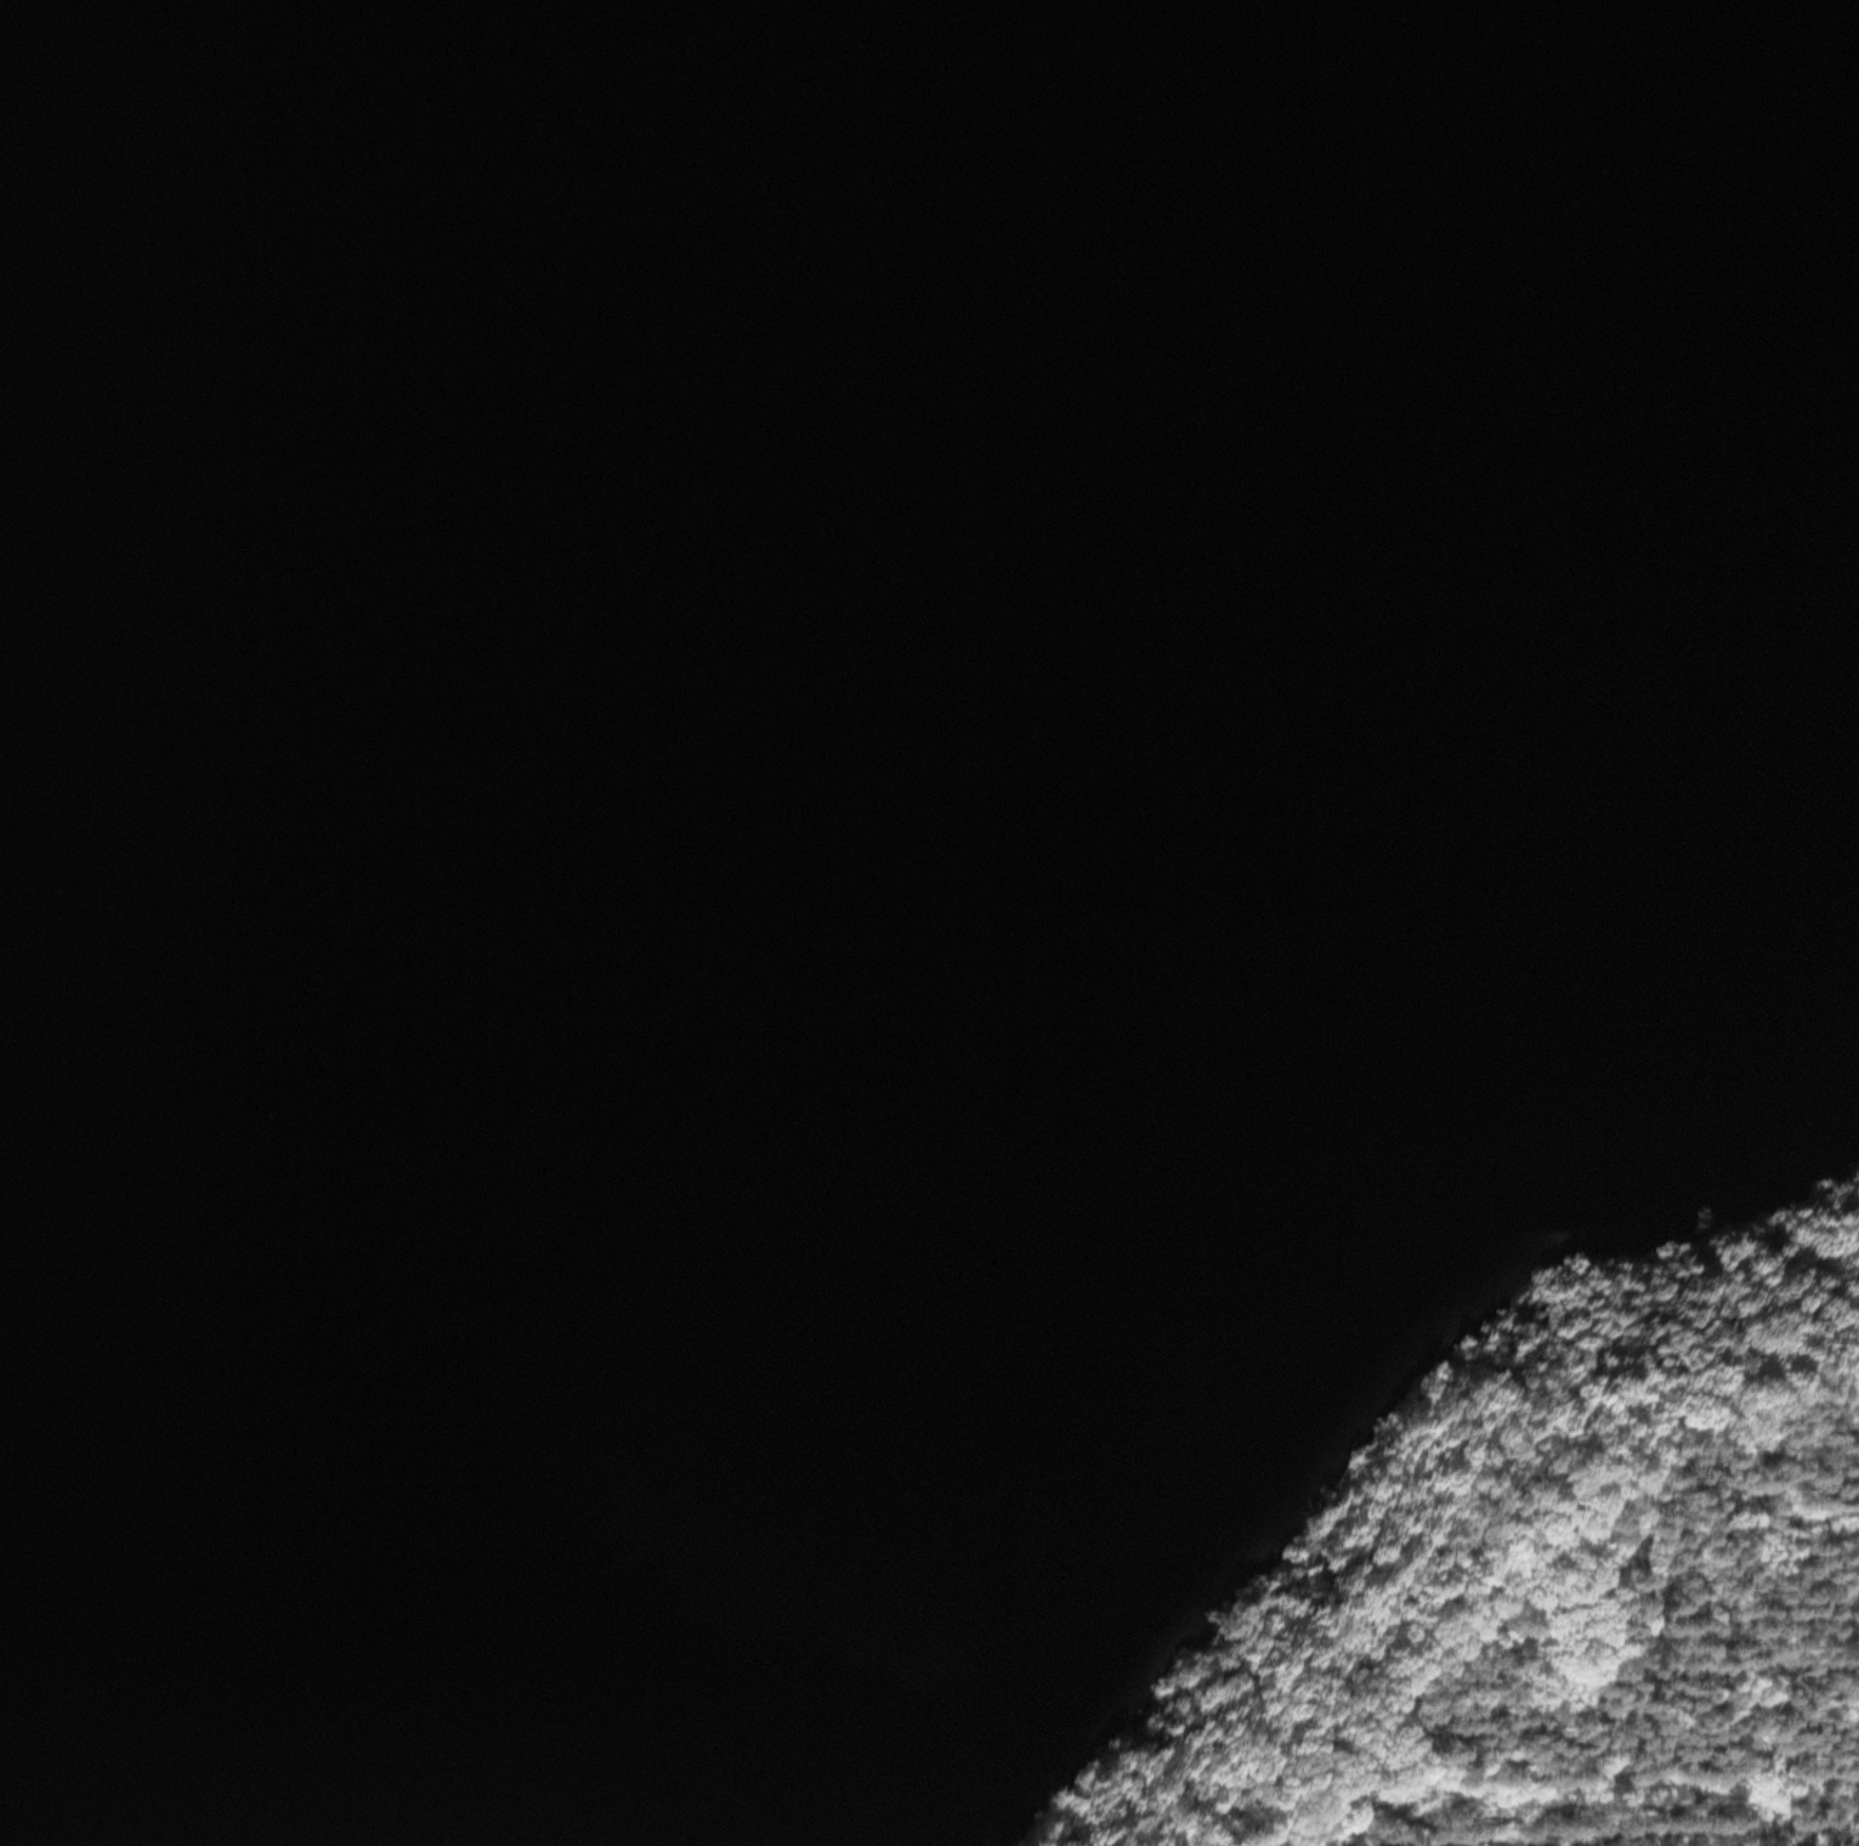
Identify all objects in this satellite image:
road: (1774, 1718)

